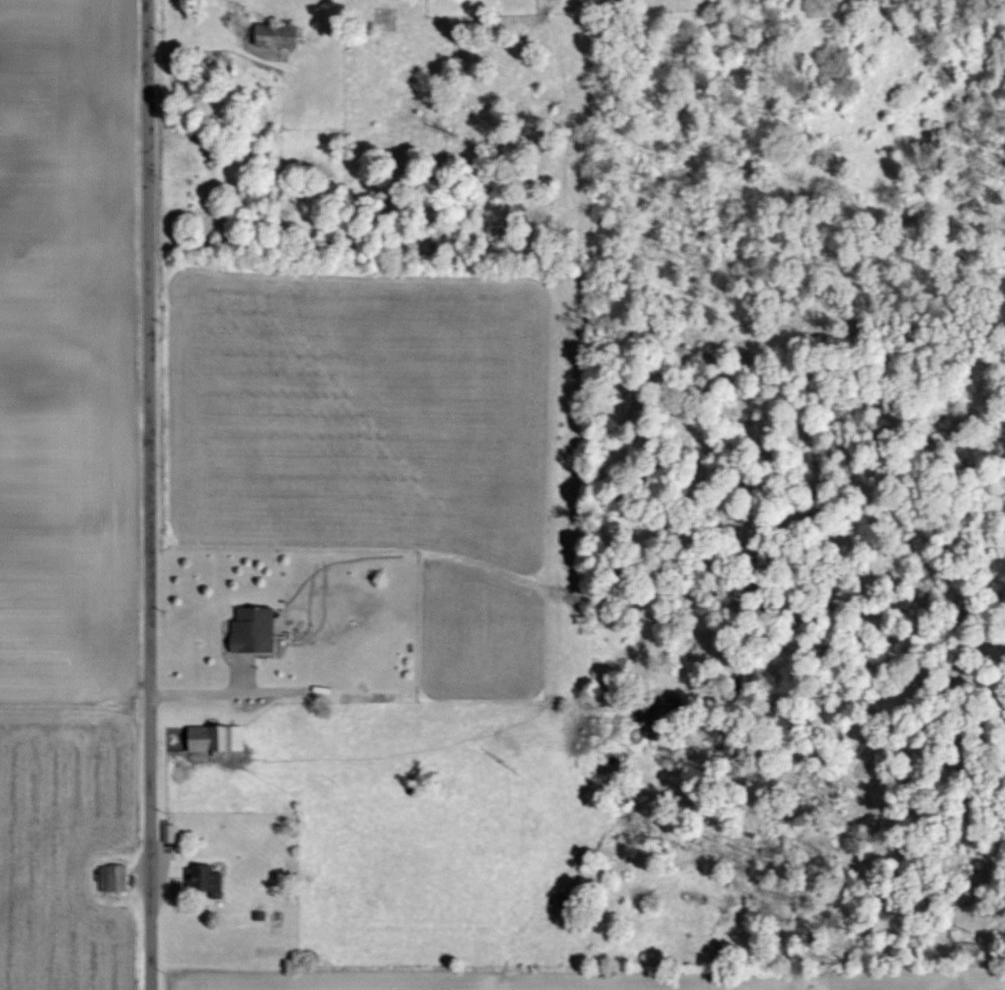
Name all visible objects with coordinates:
building: (278, 36)
road: (150, 495)
building: (250, 628)
road: (205, 690)
building: (213, 738)
building: (167, 833)
building: (112, 878)
building: (202, 879)
building: (274, 923)

